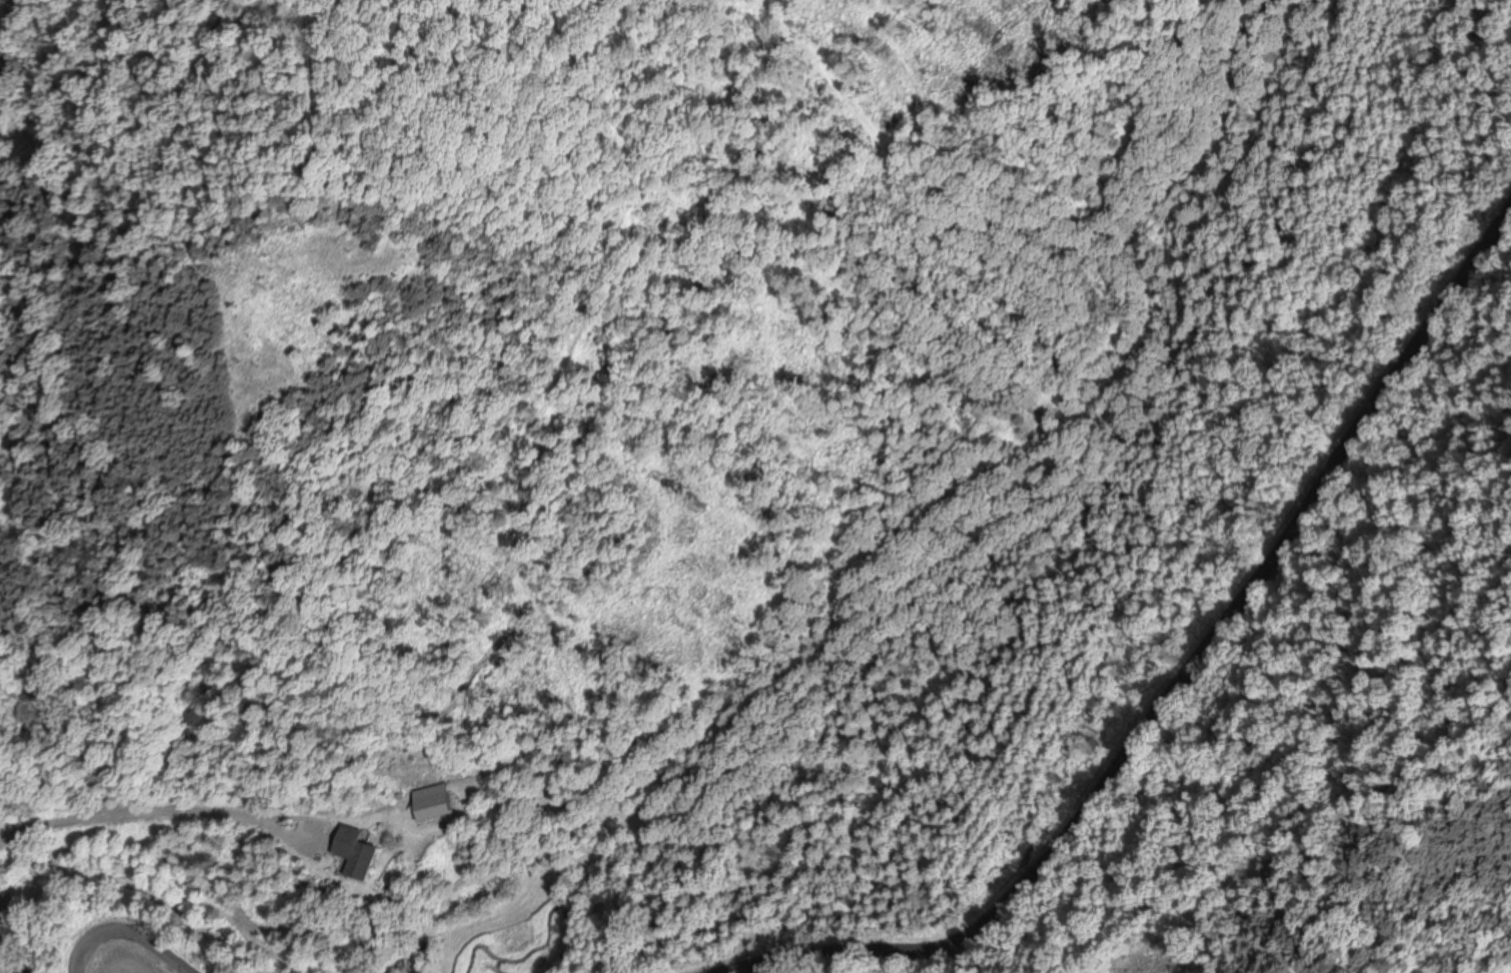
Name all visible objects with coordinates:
road: (1174, 680)
building: (432, 800)
road: (122, 815)
road: (303, 827)
building: (356, 851)
road: (127, 930)

